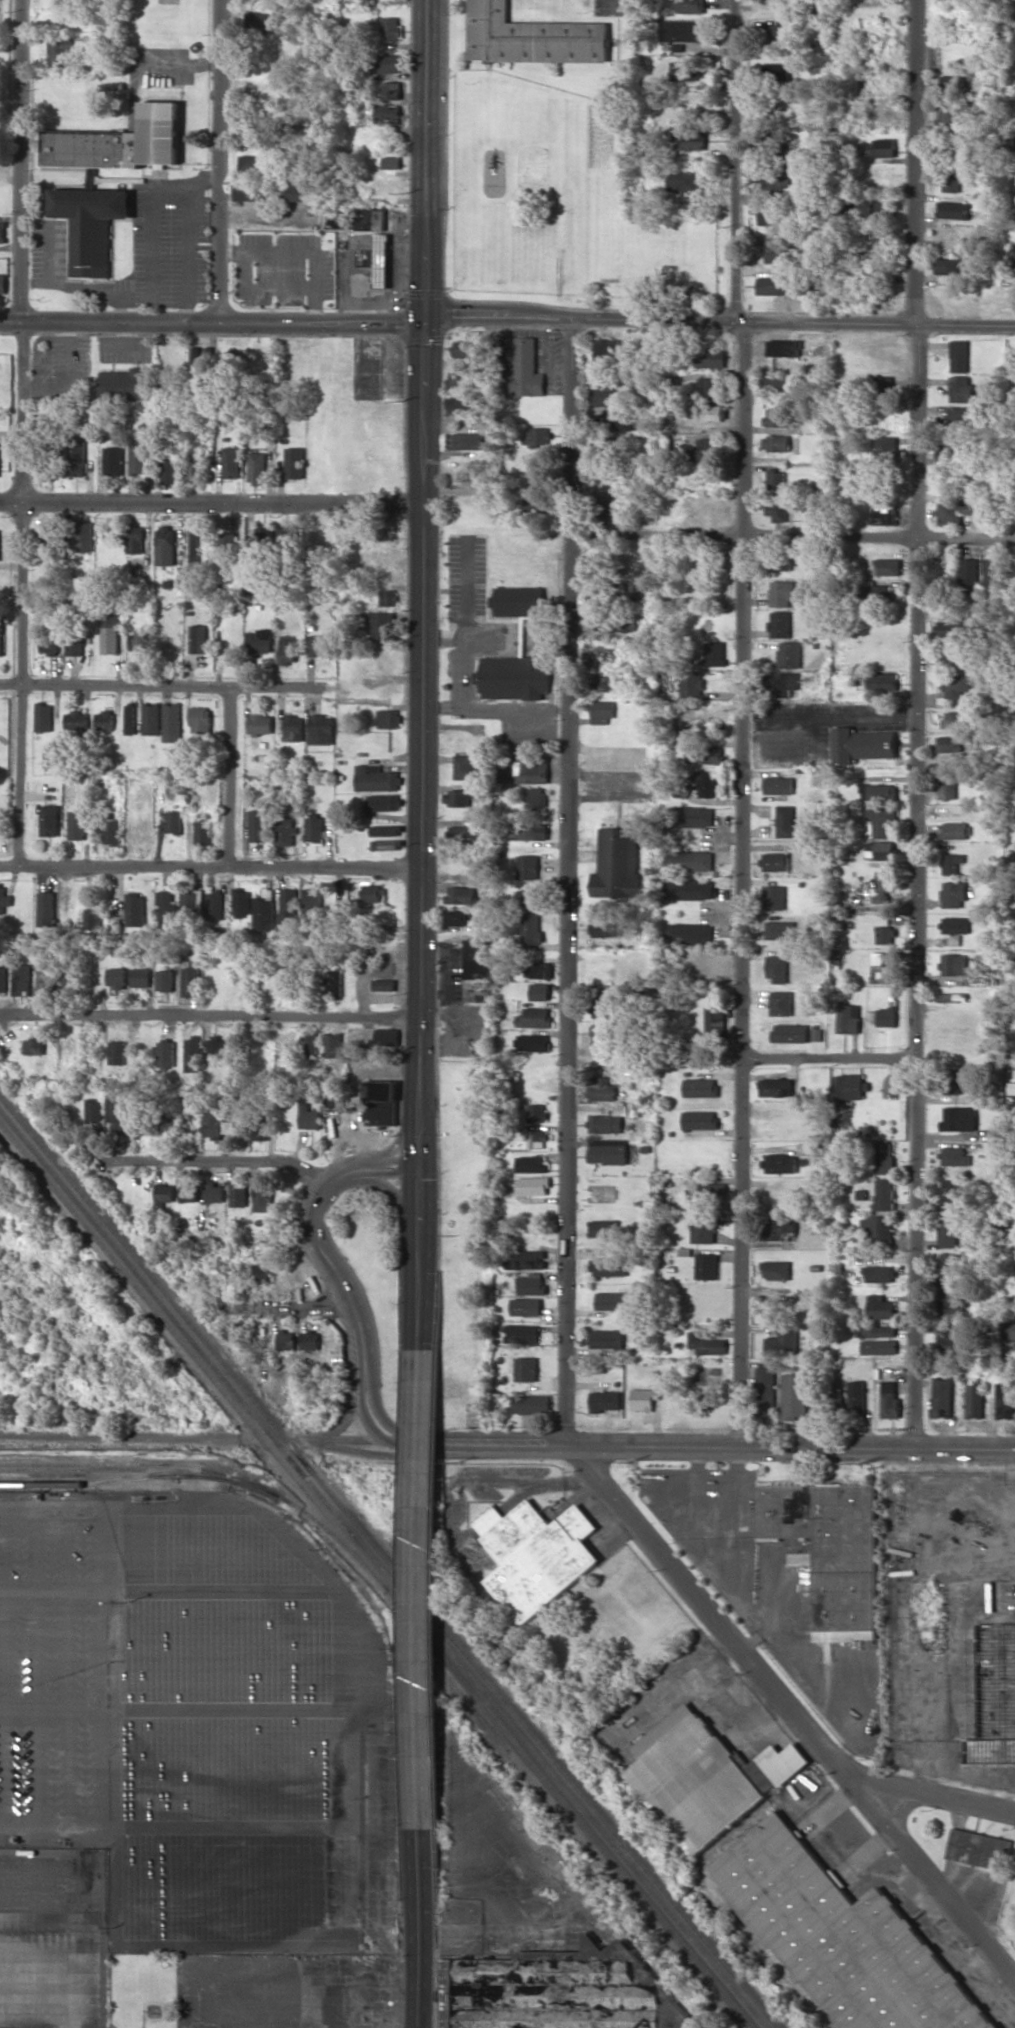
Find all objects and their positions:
building: (771, 1)
building: (691, 6)
building: (257, 17)
building: (390, 28)
building: (680, 30)
building: (532, 36)
building: (59, 52)
building: (386, 64)
building: (685, 70)
building: (951, 83)
building: (391, 90)
building: (389, 114)
building: (948, 119)
building: (689, 140)
building: (120, 142)
building: (884, 147)
building: (951, 150)
road: (735, 160)
road: (426, 161)
road: (220, 162)
building: (392, 162)
building: (259, 163)
road: (915, 163)
building: (685, 180)
building: (950, 181)
building: (255, 190)
building: (301, 190)
building: (952, 209)
building: (768, 213)
building: (369, 217)
building: (874, 219)
building: (91, 225)
building: (2, 231)
building: (778, 251)
building: (377, 259)
building: (948, 266)
building: (3, 283)
building: (770, 285)
road: (720, 320)
road: (212, 323)
building: (783, 347)
building: (466, 349)
building: (604, 350)
building: (958, 355)
building: (710, 358)
building: (524, 370)
building: (460, 378)
building: (124, 383)
building: (776, 384)
building: (883, 387)
building: (709, 388)
building: (959, 388)
building: (604, 393)
building: (460, 404)
building: (710, 412)
building: (775, 417)
building: (963, 418)
building: (621, 421)
road: (23, 432)
building: (533, 435)
building: (468, 441)
building: (775, 442)
building: (702, 448)
building: (883, 448)
building: (944, 448)
building: (77, 457)
building: (139, 458)
building: (114, 461)
building: (231, 462)
building: (294, 462)
building: (256, 466)
building: (195, 469)
building: (169, 470)
building: (775, 478)
building: (534, 503)
road: (210, 506)
building: (775, 508)
building: (956, 510)
building: (884, 512)
building: (263, 531)
building: (83, 535)
building: (286, 536)
building: (135, 538)
road: (793, 538)
building: (48, 542)
building: (165, 545)
building: (193, 545)
building: (227, 546)
building: (780, 563)
building: (887, 566)
building: (970, 571)
building: (992, 571)
building: (781, 593)
building: (873, 594)
building: (388, 597)
building: (519, 601)
building: (377, 623)
building: (779, 623)
building: (615, 624)
building: (946, 630)
building: (109, 633)
building: (1, 638)
building: (198, 638)
building: (48, 639)
building: (140, 640)
building: (259, 640)
building: (74, 643)
building: (318, 644)
building: (287, 650)
building: (715, 653)
building: (789, 654)
building: (948, 657)
building: (514, 677)
building: (882, 681)
building: (781, 682)
building: (606, 683)
building: (691, 683)
road: (169, 685)
building: (957, 685)
building: (603, 711)
building: (43, 716)
building: (129, 717)
building: (151, 717)
building: (389, 718)
building: (75, 719)
building: (104, 719)
building: (199, 719)
building: (955, 719)
building: (171, 721)
building: (292, 727)
building: (320, 729)
building: (863, 744)
building: (950, 744)
road: (421, 746)
building: (713, 754)
building: (51, 758)
building: (468, 767)
building: (526, 769)
road: (230, 777)
building: (375, 778)
building: (707, 782)
building: (779, 785)
building: (947, 786)
building: (878, 791)
building: (457, 797)
building: (536, 799)
building: (384, 802)
building: (692, 816)
building: (49, 820)
building: (173, 821)
building: (785, 821)
building: (882, 822)
building: (76, 824)
building: (257, 825)
building: (111, 828)
building: (314, 828)
building: (285, 830)
building: (385, 830)
building: (956, 830)
building: (202, 831)
building: (531, 831)
building: (461, 833)
building: (384, 844)
building: (881, 850)
building: (689, 860)
building: (776, 861)
building: (618, 862)
building: (952, 863)
building: (528, 866)
road: (210, 867)
road: (570, 882)
road: (742, 885)
building: (883, 886)
road: (916, 887)
building: (689, 888)
building: (371, 892)
building: (461, 894)
building: (953, 894)
building: (528, 897)
building: (774, 897)
building: (2, 899)
building: (192, 901)
building: (240, 903)
building: (213, 904)
building: (287, 905)
building: (310, 906)
building: (46, 908)
building: (135, 909)
building: (166, 909)
building: (263, 911)
building: (457, 917)
building: (92, 920)
building: (954, 924)
building: (606, 927)
building: (531, 928)
building: (781, 929)
building: (689, 933)
building: (884, 934)
building: (953, 964)
building: (777, 968)
building: (881, 969)
building: (538, 970)
building: (117, 977)
building: (141, 977)
building: (3, 978)
building: (69, 978)
building: (191, 978)
building: (22, 979)
building: (47, 980)
building: (166, 980)
building: (332, 983)
building: (383, 984)
building: (539, 991)
building: (951, 997)
building: (602, 1001)
building: (781, 1002)
road: (216, 1010)
building: (886, 1016)
building: (535, 1017)
building: (847, 1017)
building: (715, 1019)
building: (790, 1033)
building: (386, 1036)
building: (599, 1036)
building: (532, 1042)
building: (308, 1043)
building: (333, 1045)
building: (35, 1046)
building: (215, 1051)
building: (117, 1052)
building: (192, 1053)
building: (165, 1054)
road: (830, 1059)
building: (949, 1080)
building: (846, 1086)
building: (701, 1087)
building: (775, 1087)
building: (602, 1089)
building: (334, 1098)
building: (381, 1102)
building: (94, 1110)
building: (536, 1112)
building: (117, 1115)
building: (308, 1116)
building: (958, 1118)
building: (700, 1119)
building: (606, 1121)
building: (167, 1124)
building: (215, 1124)
building: (137, 1126)
building: (259, 1128)
building: (536, 1139)
road: (391, 1148)
building: (802, 1149)
building: (608, 1150)
building: (953, 1156)
building: (883, 1158)
road: (221, 1162)
building: (530, 1163)
building: (779, 1163)
building: (533, 1185)
building: (188, 1187)
building: (213, 1192)
building: (709, 1192)
building: (237, 1193)
building: (163, 1194)
road: (399, 1194)
building: (883, 1194)
building: (948, 1194)
building: (262, 1195)
building: (604, 1228)
building: (781, 1228)
building: (878, 1228)
building: (703, 1229)
building: (947, 1230)
road: (310, 1231)
building: (526, 1259)
road: (420, 1260)
building: (707, 1265)
building: (609, 1266)
building: (948, 1268)
building: (776, 1269)
building: (261, 1272)
building: (879, 1273)
building: (531, 1284)
building: (610, 1300)
building: (953, 1303)
building: (526, 1306)
building: (880, 1307)
road: (288, 1308)
building: (1010, 1330)
building: (876, 1331)
building: (522, 1333)
building: (948, 1336)
building: (607, 1338)
building: (285, 1339)
building: (309, 1340)
building: (783, 1341)
building: (708, 1344)
building: (879, 1346)
railway: (199, 1368)
building: (526, 1368)
building: (765, 1391)
building: (796, 1395)
building: (857, 1396)
building: (942, 1397)
building: (644, 1398)
building: (975, 1399)
building: (606, 1400)
building: (890, 1400)
building: (1005, 1400)
building: (531, 1404)
road: (362, 1405)
road: (376, 1412)
road: (345, 1420)
road: (354, 1439)
road: (117, 1440)
road: (312, 1440)
road: (402, 1440)
road: (431, 1444)
road: (729, 1450)
road: (382, 1451)
railway: (213, 1471)
railway: (139, 1474)
railway: (88, 1483)
building: (830, 1550)
building: (537, 1555)
railway: (388, 1564)
railway: (382, 1571)
road: (421, 1590)
railway: (460, 1671)
road: (794, 1703)
building: (704, 1776)
road: (940, 1800)
railway: (576, 1817)
building: (979, 1849)
building: (1013, 1895)
road: (417, 1929)
building: (843, 1937)
building: (549, 1990)
building: (673, 2010)

